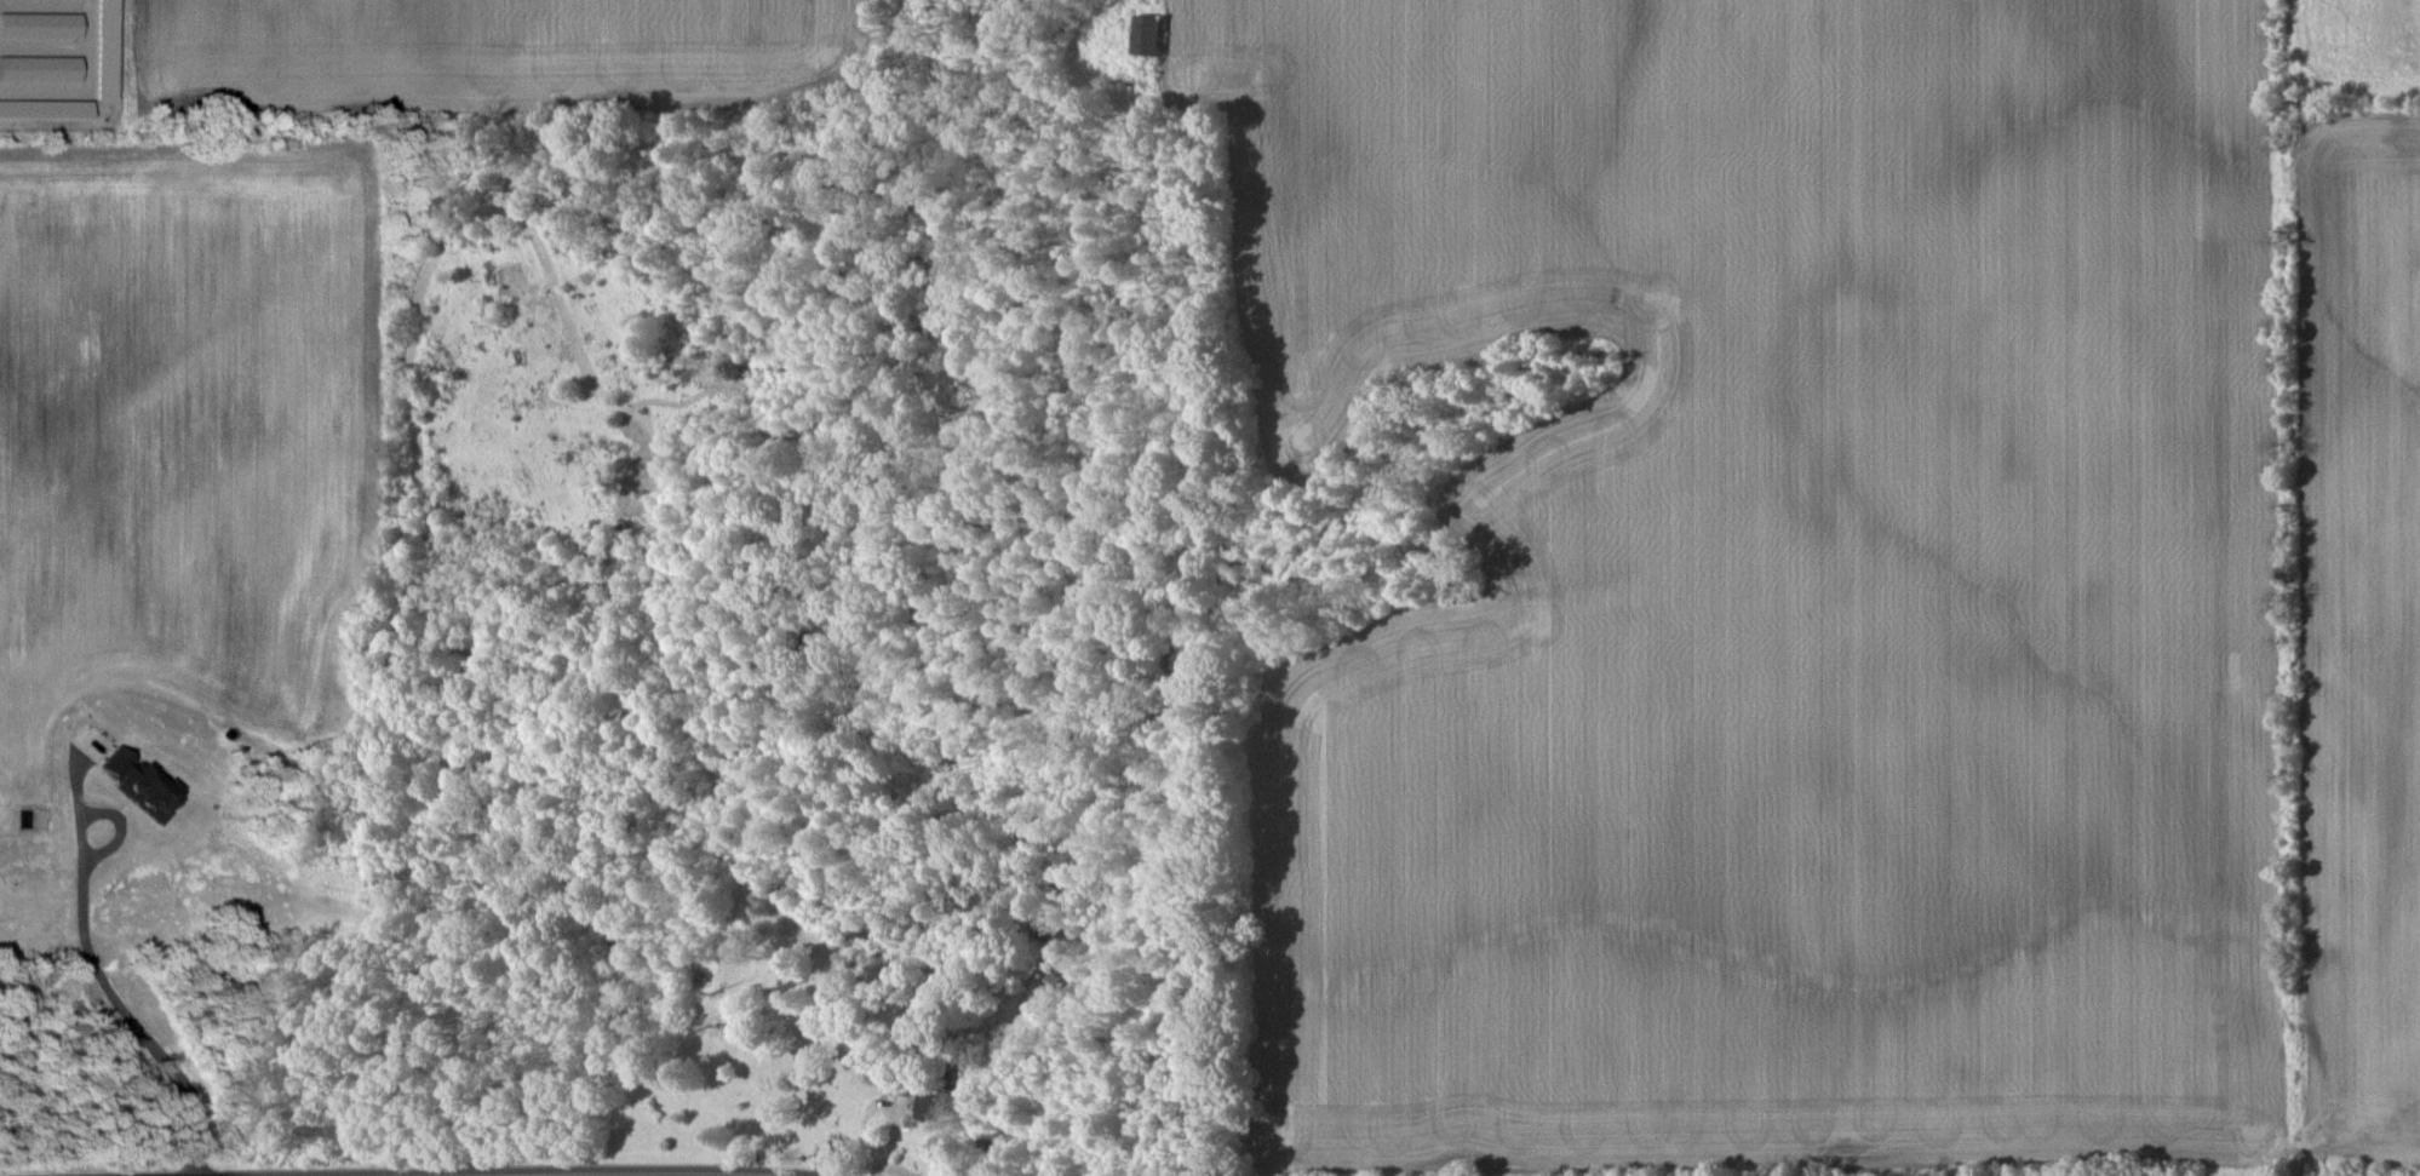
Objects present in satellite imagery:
building: (39, 25)
building: (1147, 34)
building: (39, 68)
building: (139, 782)
road: (1300, 931)
road: (103, 970)
building: (931, 1103)
road: (610, 1174)

